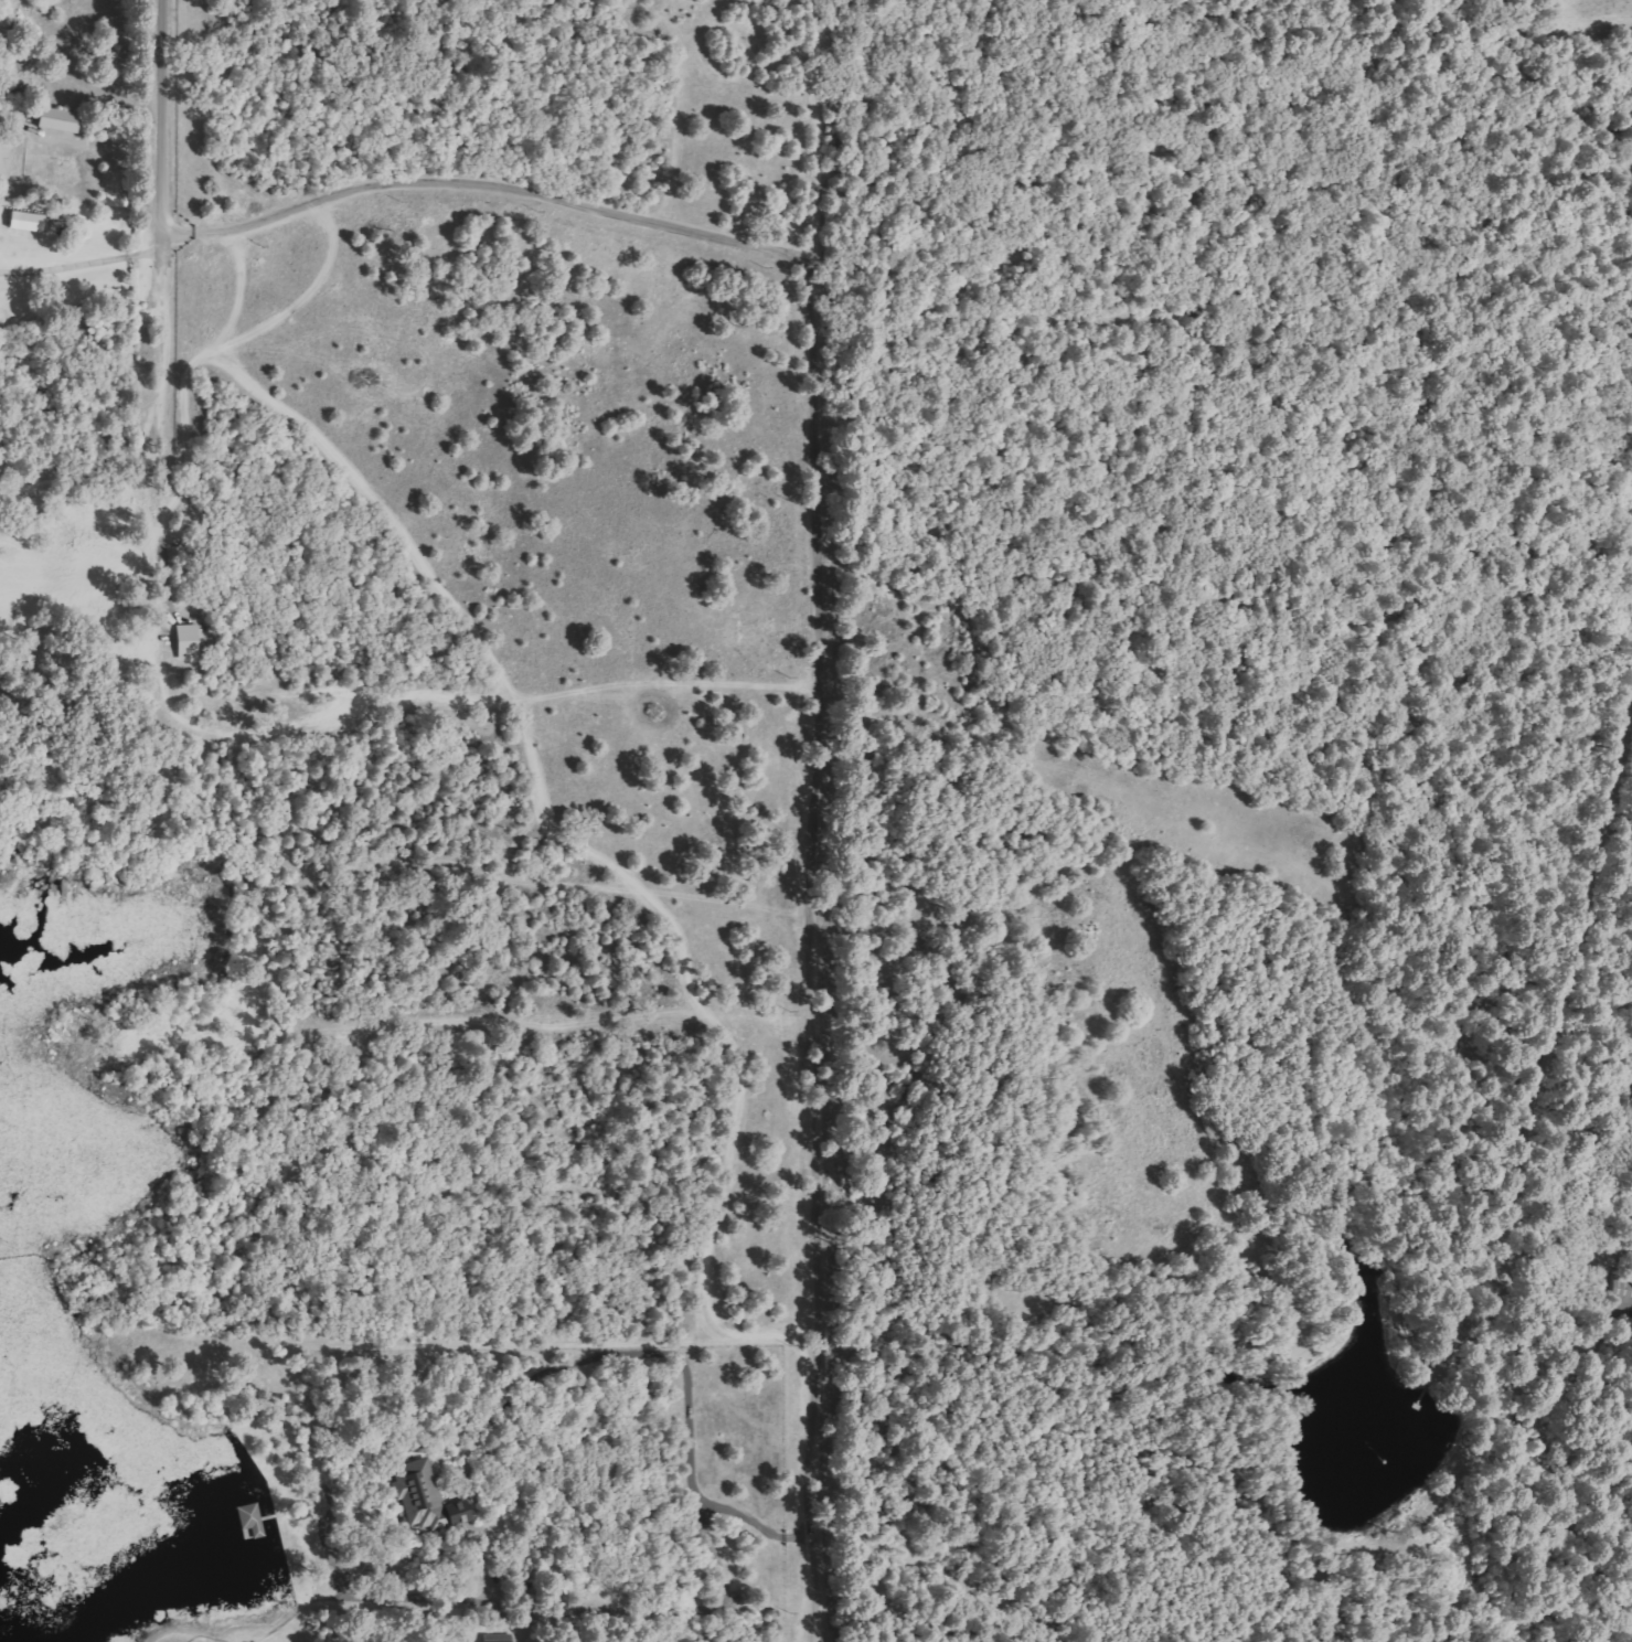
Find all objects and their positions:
building: (53, 120)
road: (158, 126)
building: (21, 222)
road: (157, 360)
building: (183, 641)
road: (802, 735)
building: (1458, 1325)
building: (418, 1499)
building: (248, 1520)
building: (491, 1638)

